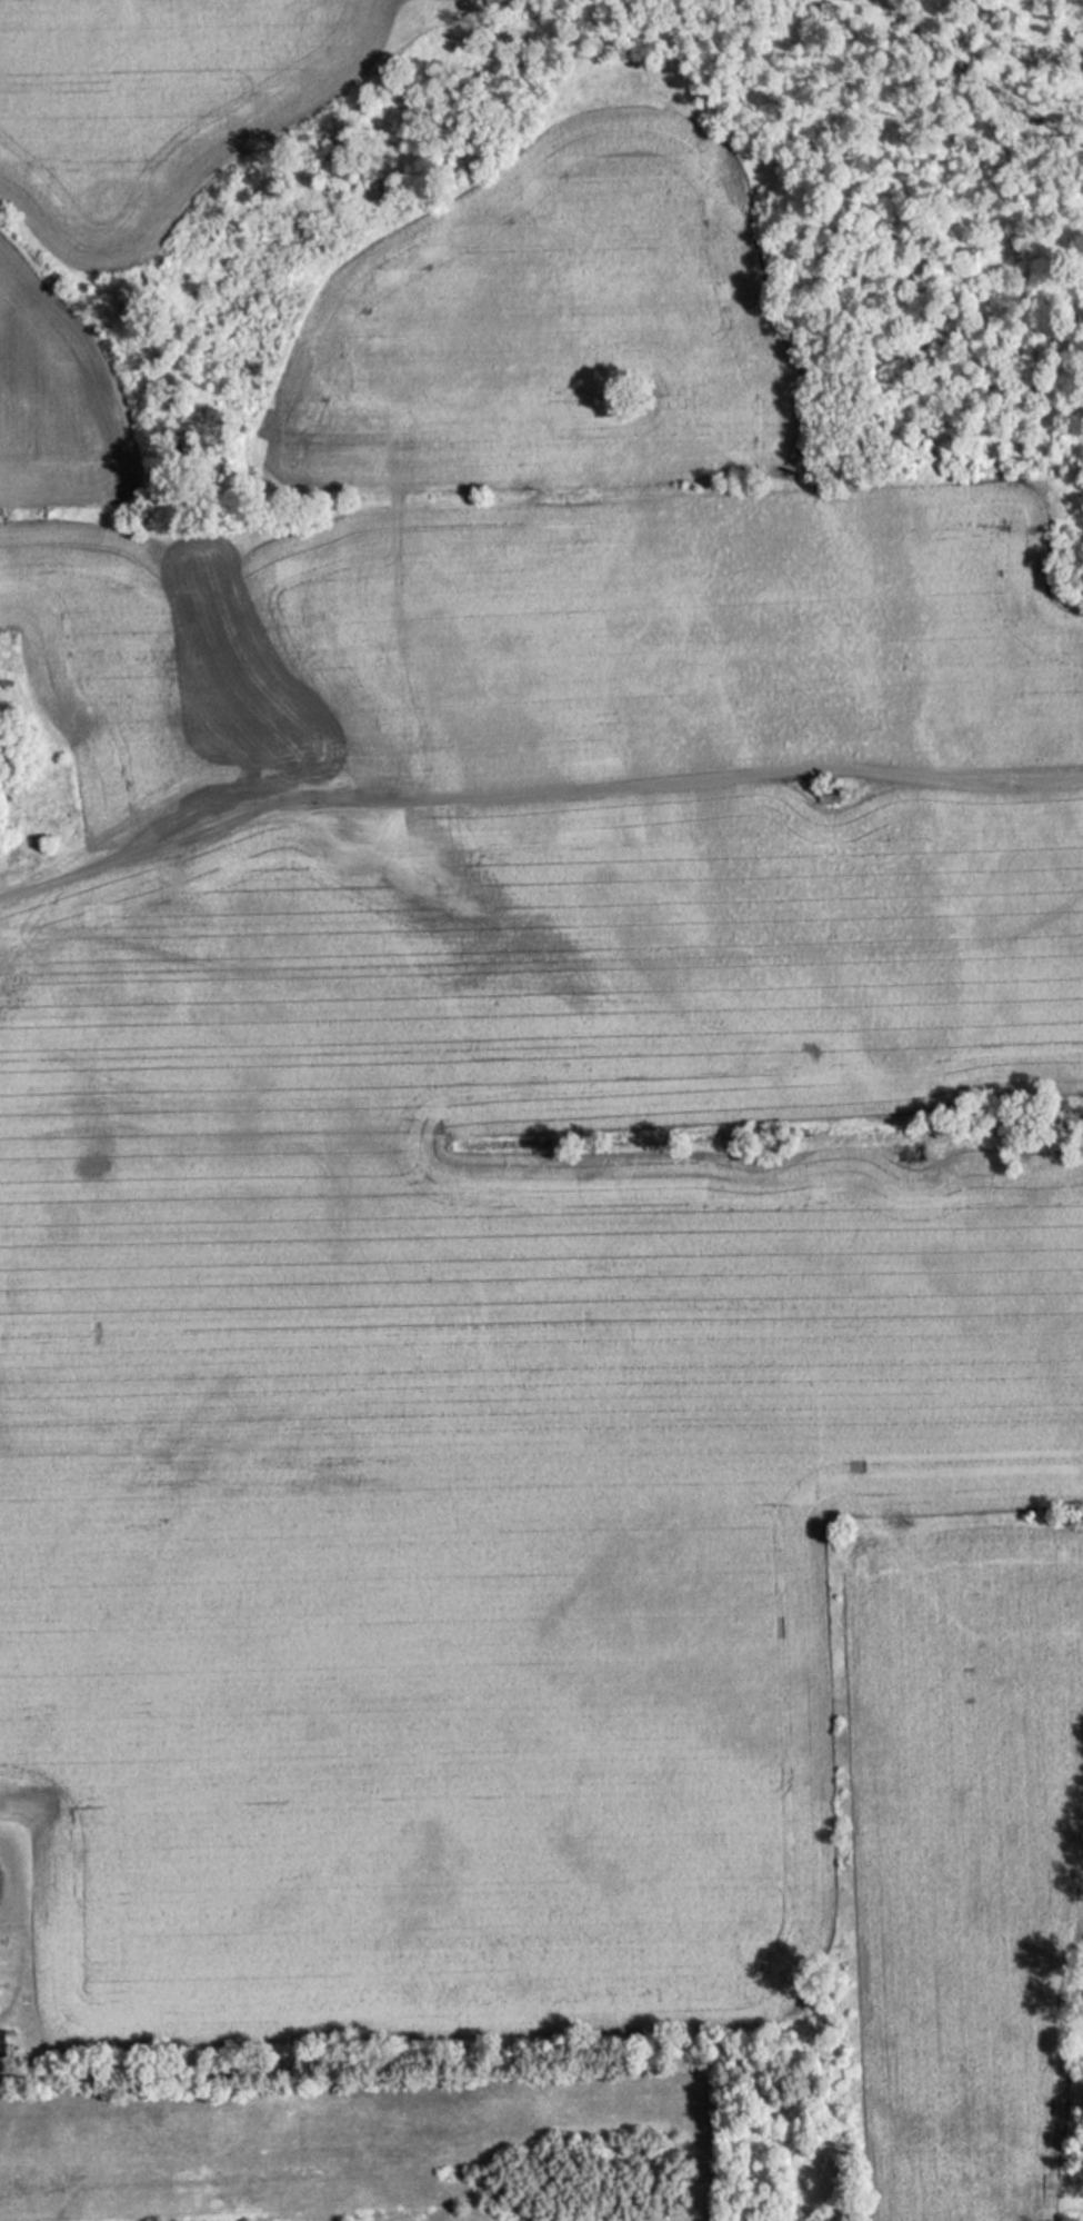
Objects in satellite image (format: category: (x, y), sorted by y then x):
building: (828, 795)
building: (2, 2042)

